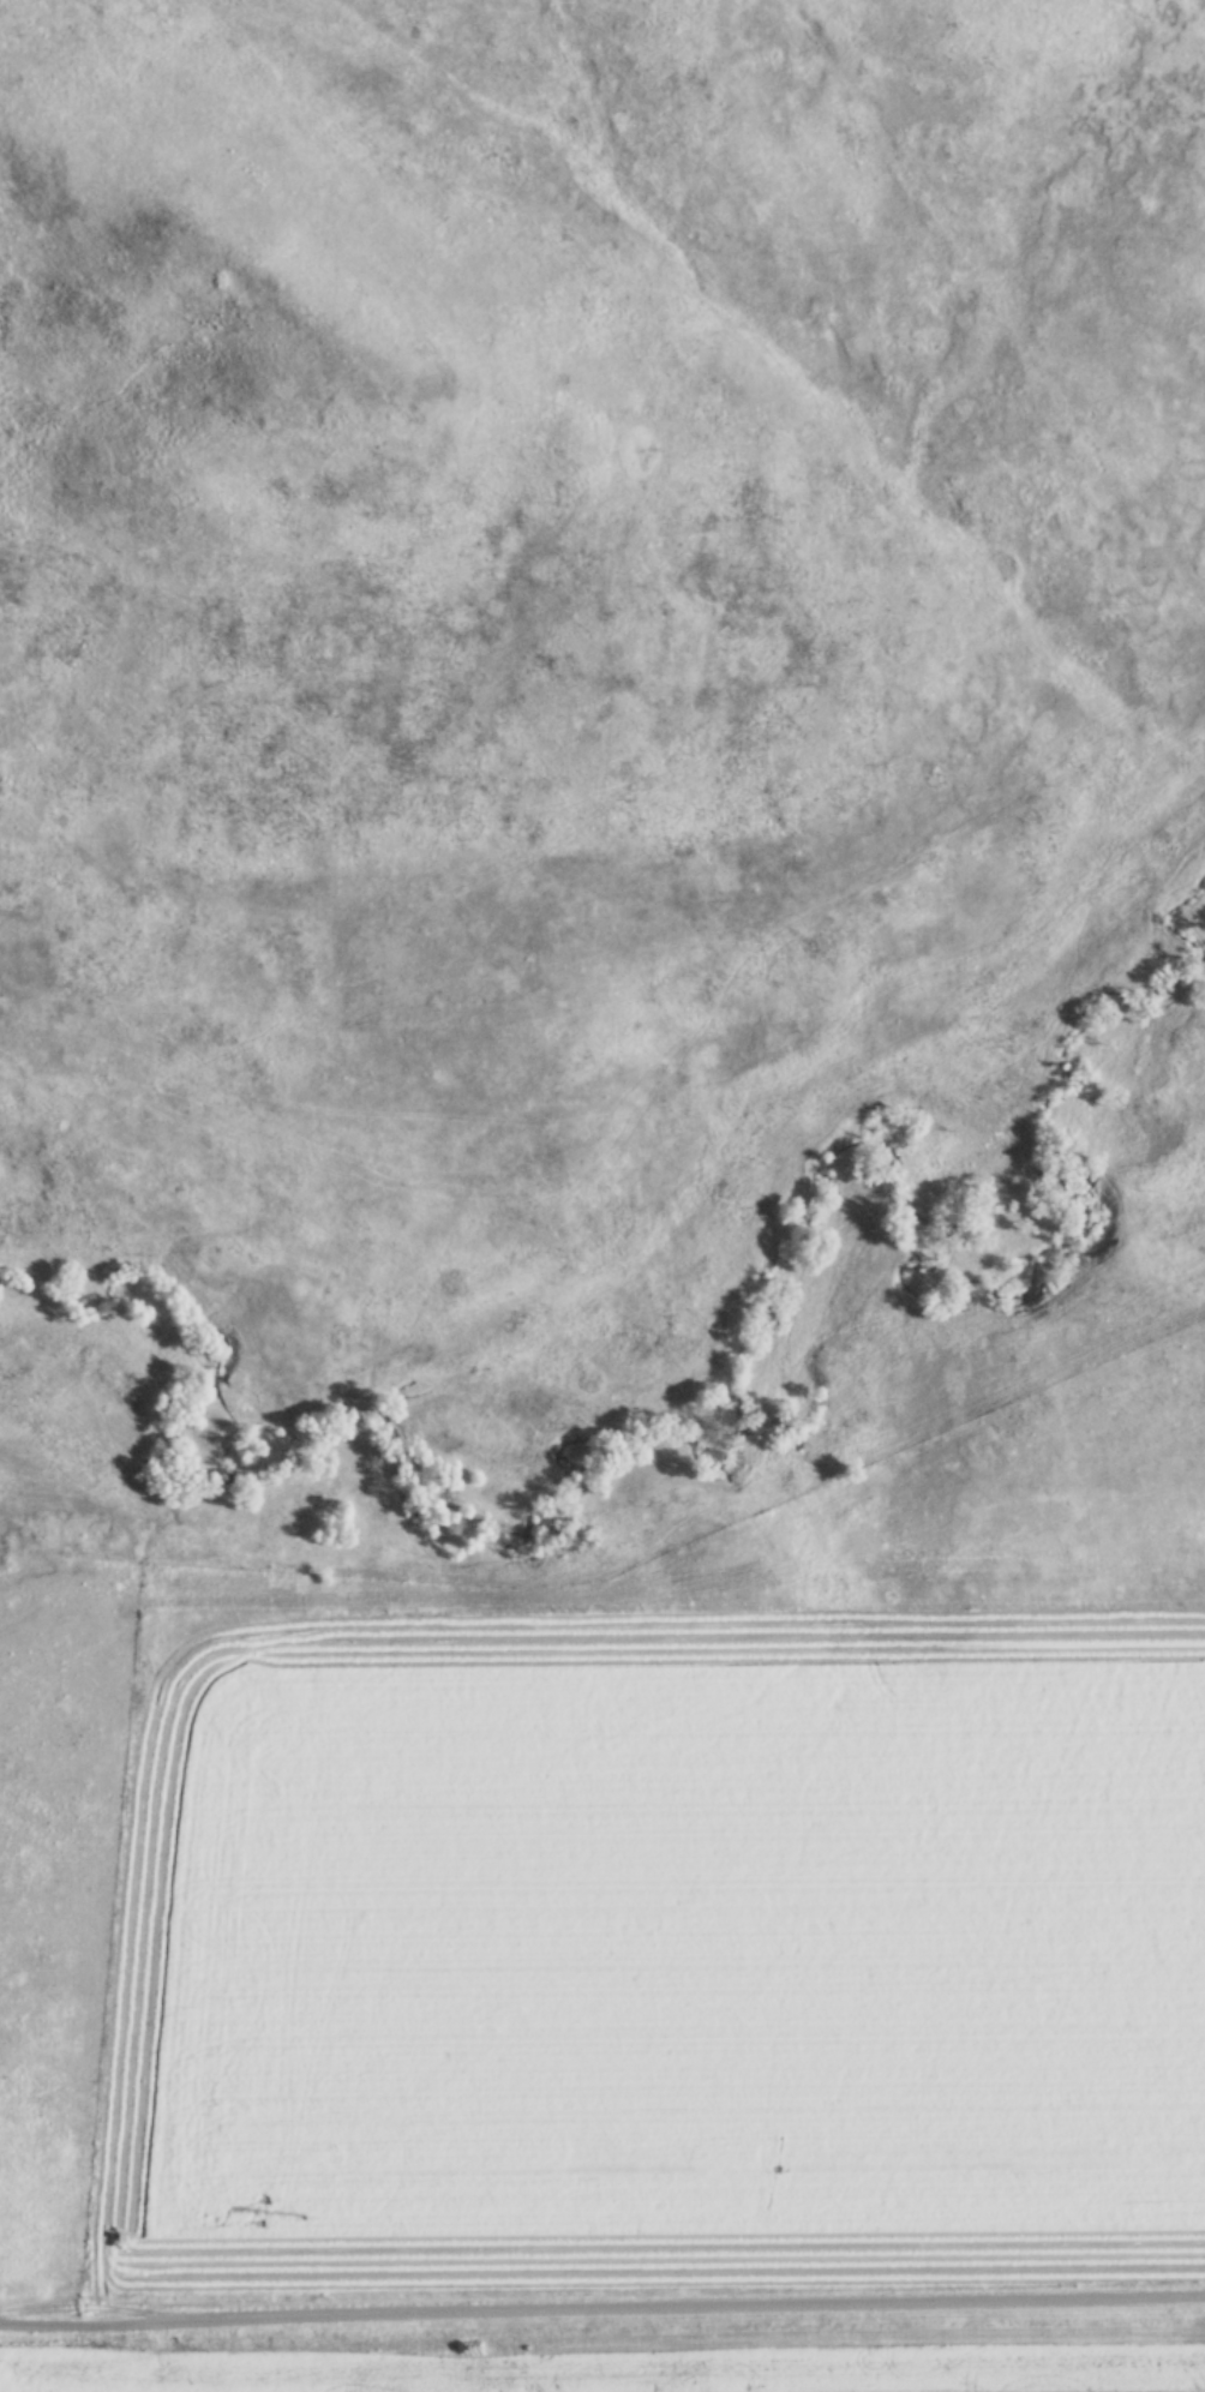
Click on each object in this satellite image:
crop: (659, 1953)
road: (602, 2304)

